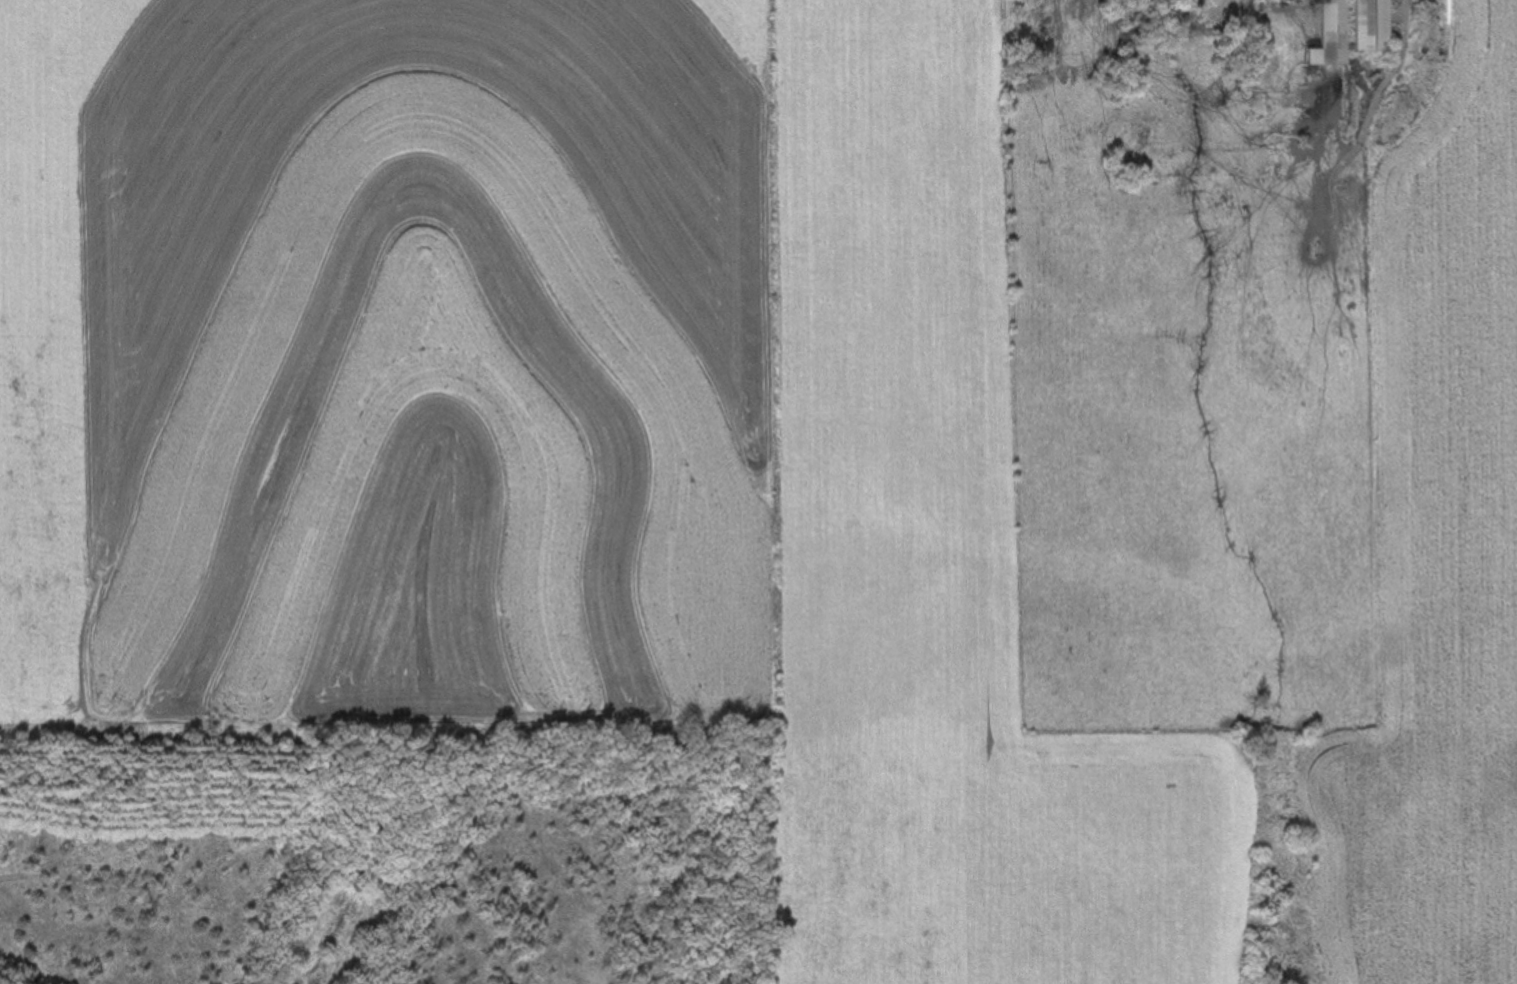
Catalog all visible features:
building: (1345, 30)

